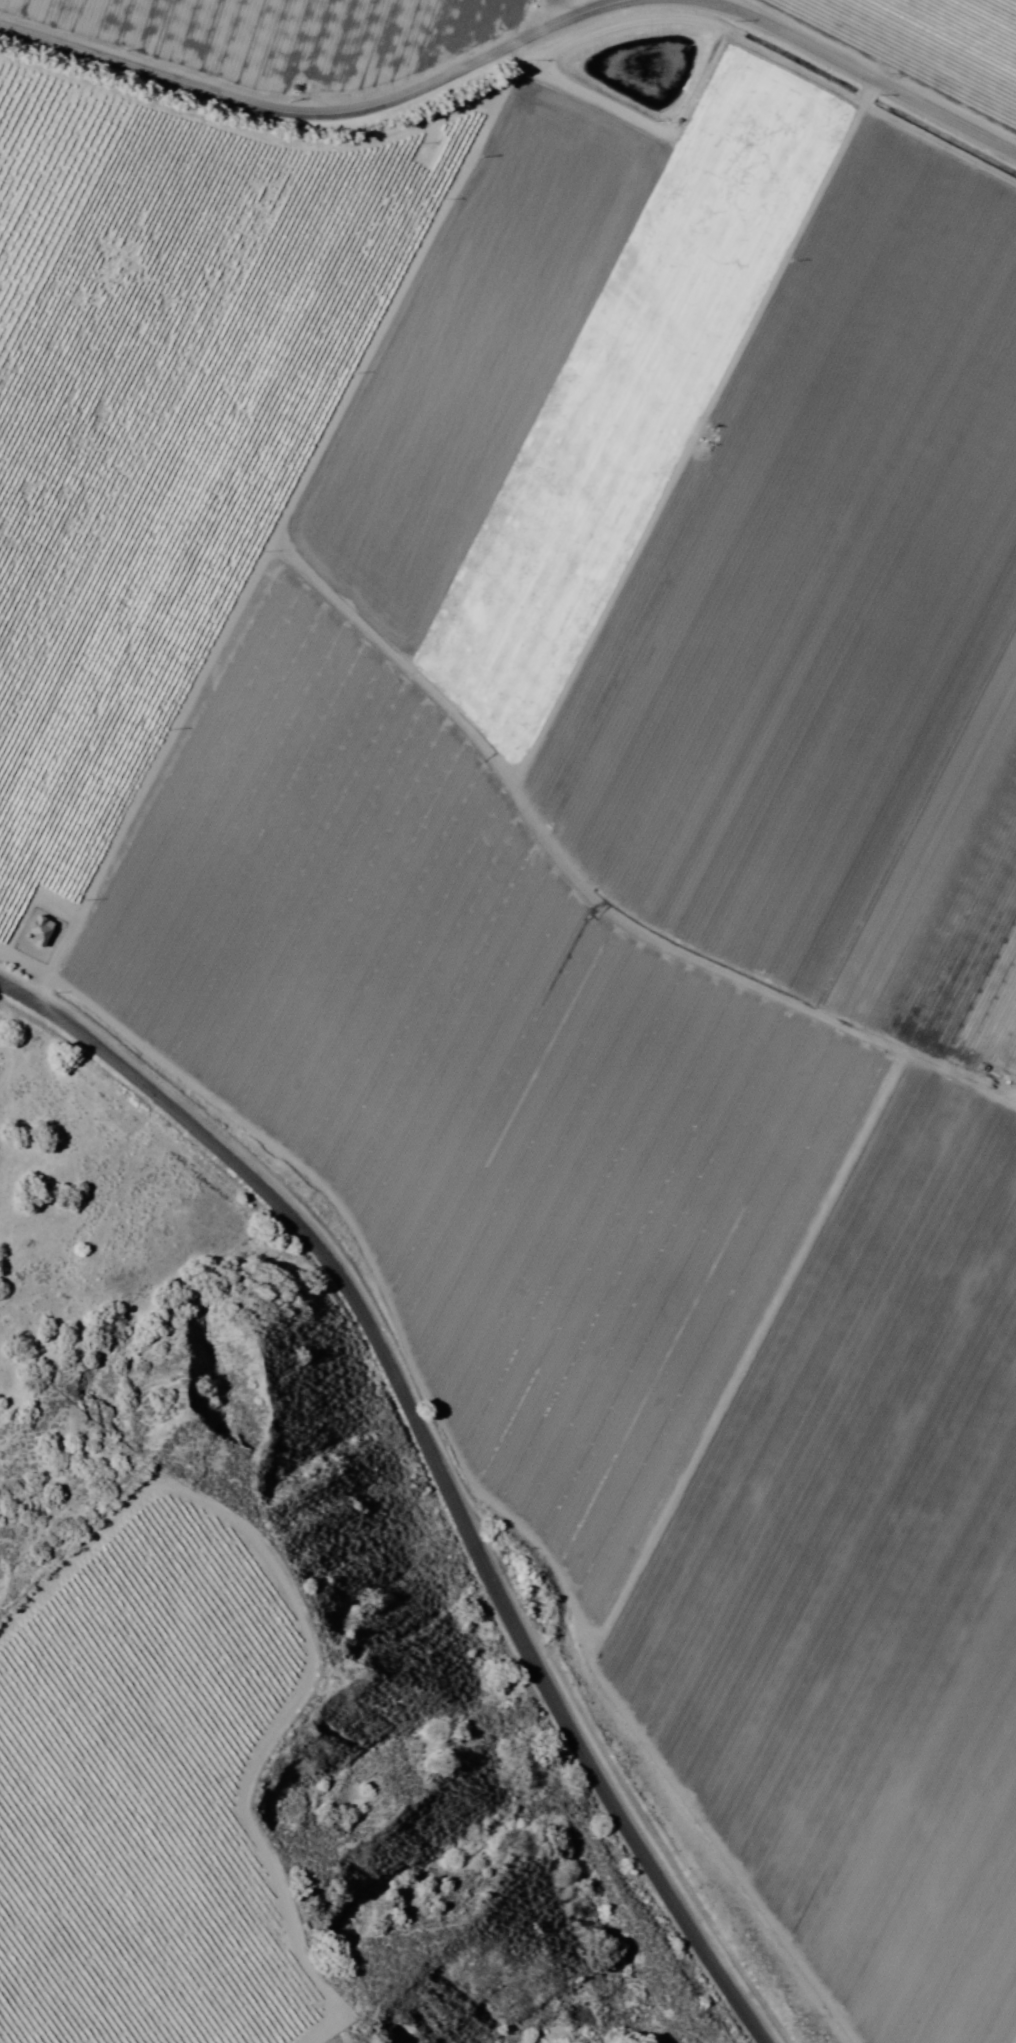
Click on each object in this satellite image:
road: (554, 18)
road: (517, 47)
road: (439, 1464)
crop: (149, 1787)

